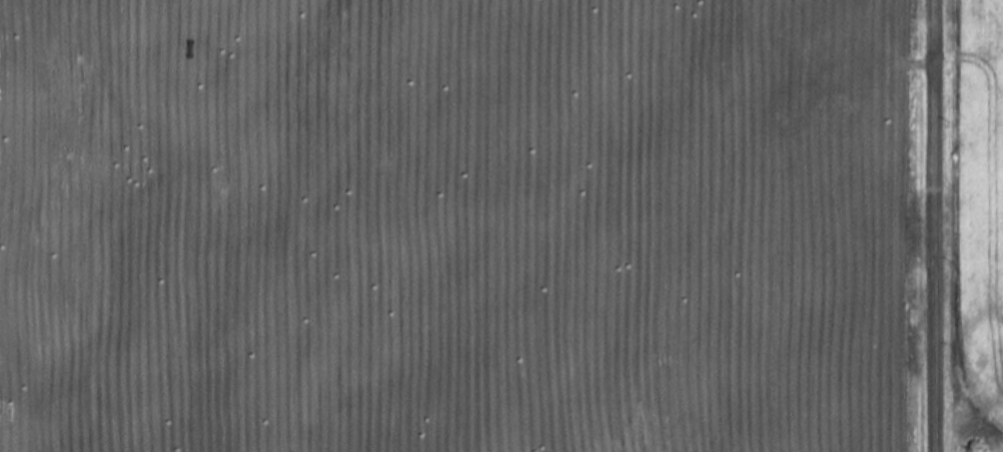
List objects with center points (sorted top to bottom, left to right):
road: (932, 226)

